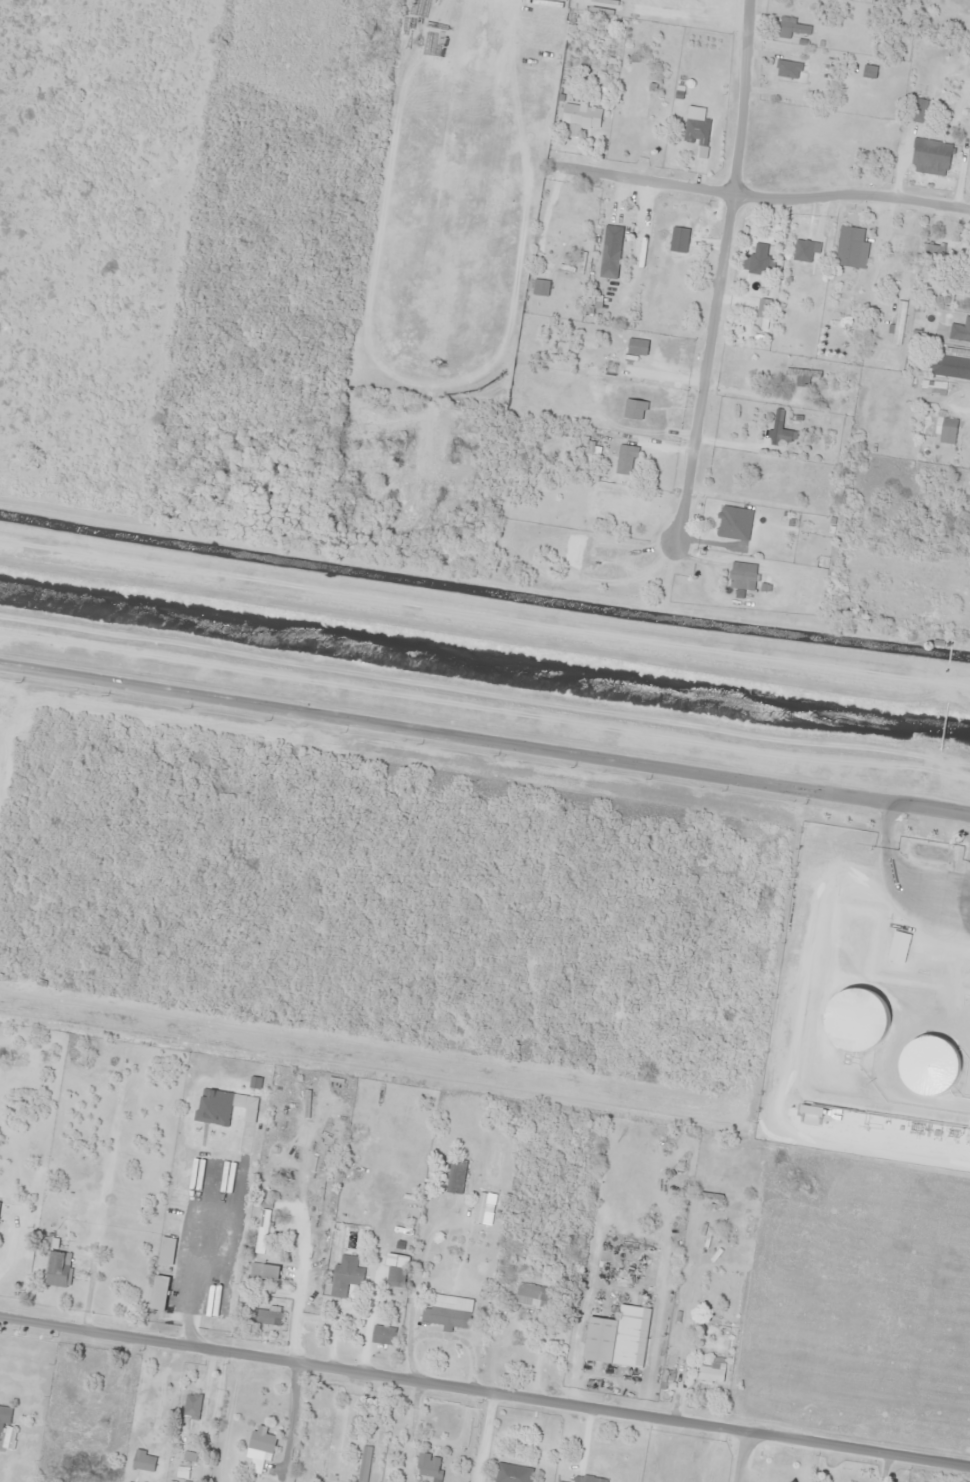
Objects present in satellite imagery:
building: (792, 28)
building: (788, 69)
building: (869, 71)
building: (919, 111)
building: (584, 118)
building: (697, 133)
building: (930, 158)
road: (759, 196)
building: (566, 227)
building: (850, 248)
building: (932, 253)
building: (759, 261)
building: (610, 262)
road: (724, 262)
building: (968, 269)
building: (540, 288)
building: (898, 323)
building: (960, 331)
building: (637, 350)
building: (949, 363)
building: (938, 388)
building: (780, 431)
building: (948, 431)
building: (625, 460)
building: (734, 524)
building: (742, 576)
road: (484, 729)
road: (893, 879)
building: (862, 1023)
storage tank: (862, 1023)
building: (925, 1066)
storage tank: (925, 1066)
building: (455, 1177)
building: (69, 1204)
building: (262, 1232)
road: (24, 1238)
building: (166, 1252)
building: (56, 1269)
building: (264, 1272)
building: (395, 1278)
building: (345, 1280)
building: (159, 1294)
building: (533, 1295)
building: (264, 1317)
building: (444, 1318)
building: (383, 1335)
building: (619, 1338)
building: (712, 1372)
road: (484, 1390)
building: (192, 1406)
building: (4, 1418)
building: (262, 1442)
building: (144, 1462)
building: (364, 1464)
building: (429, 1467)
building: (512, 1473)
building: (587, 1479)

